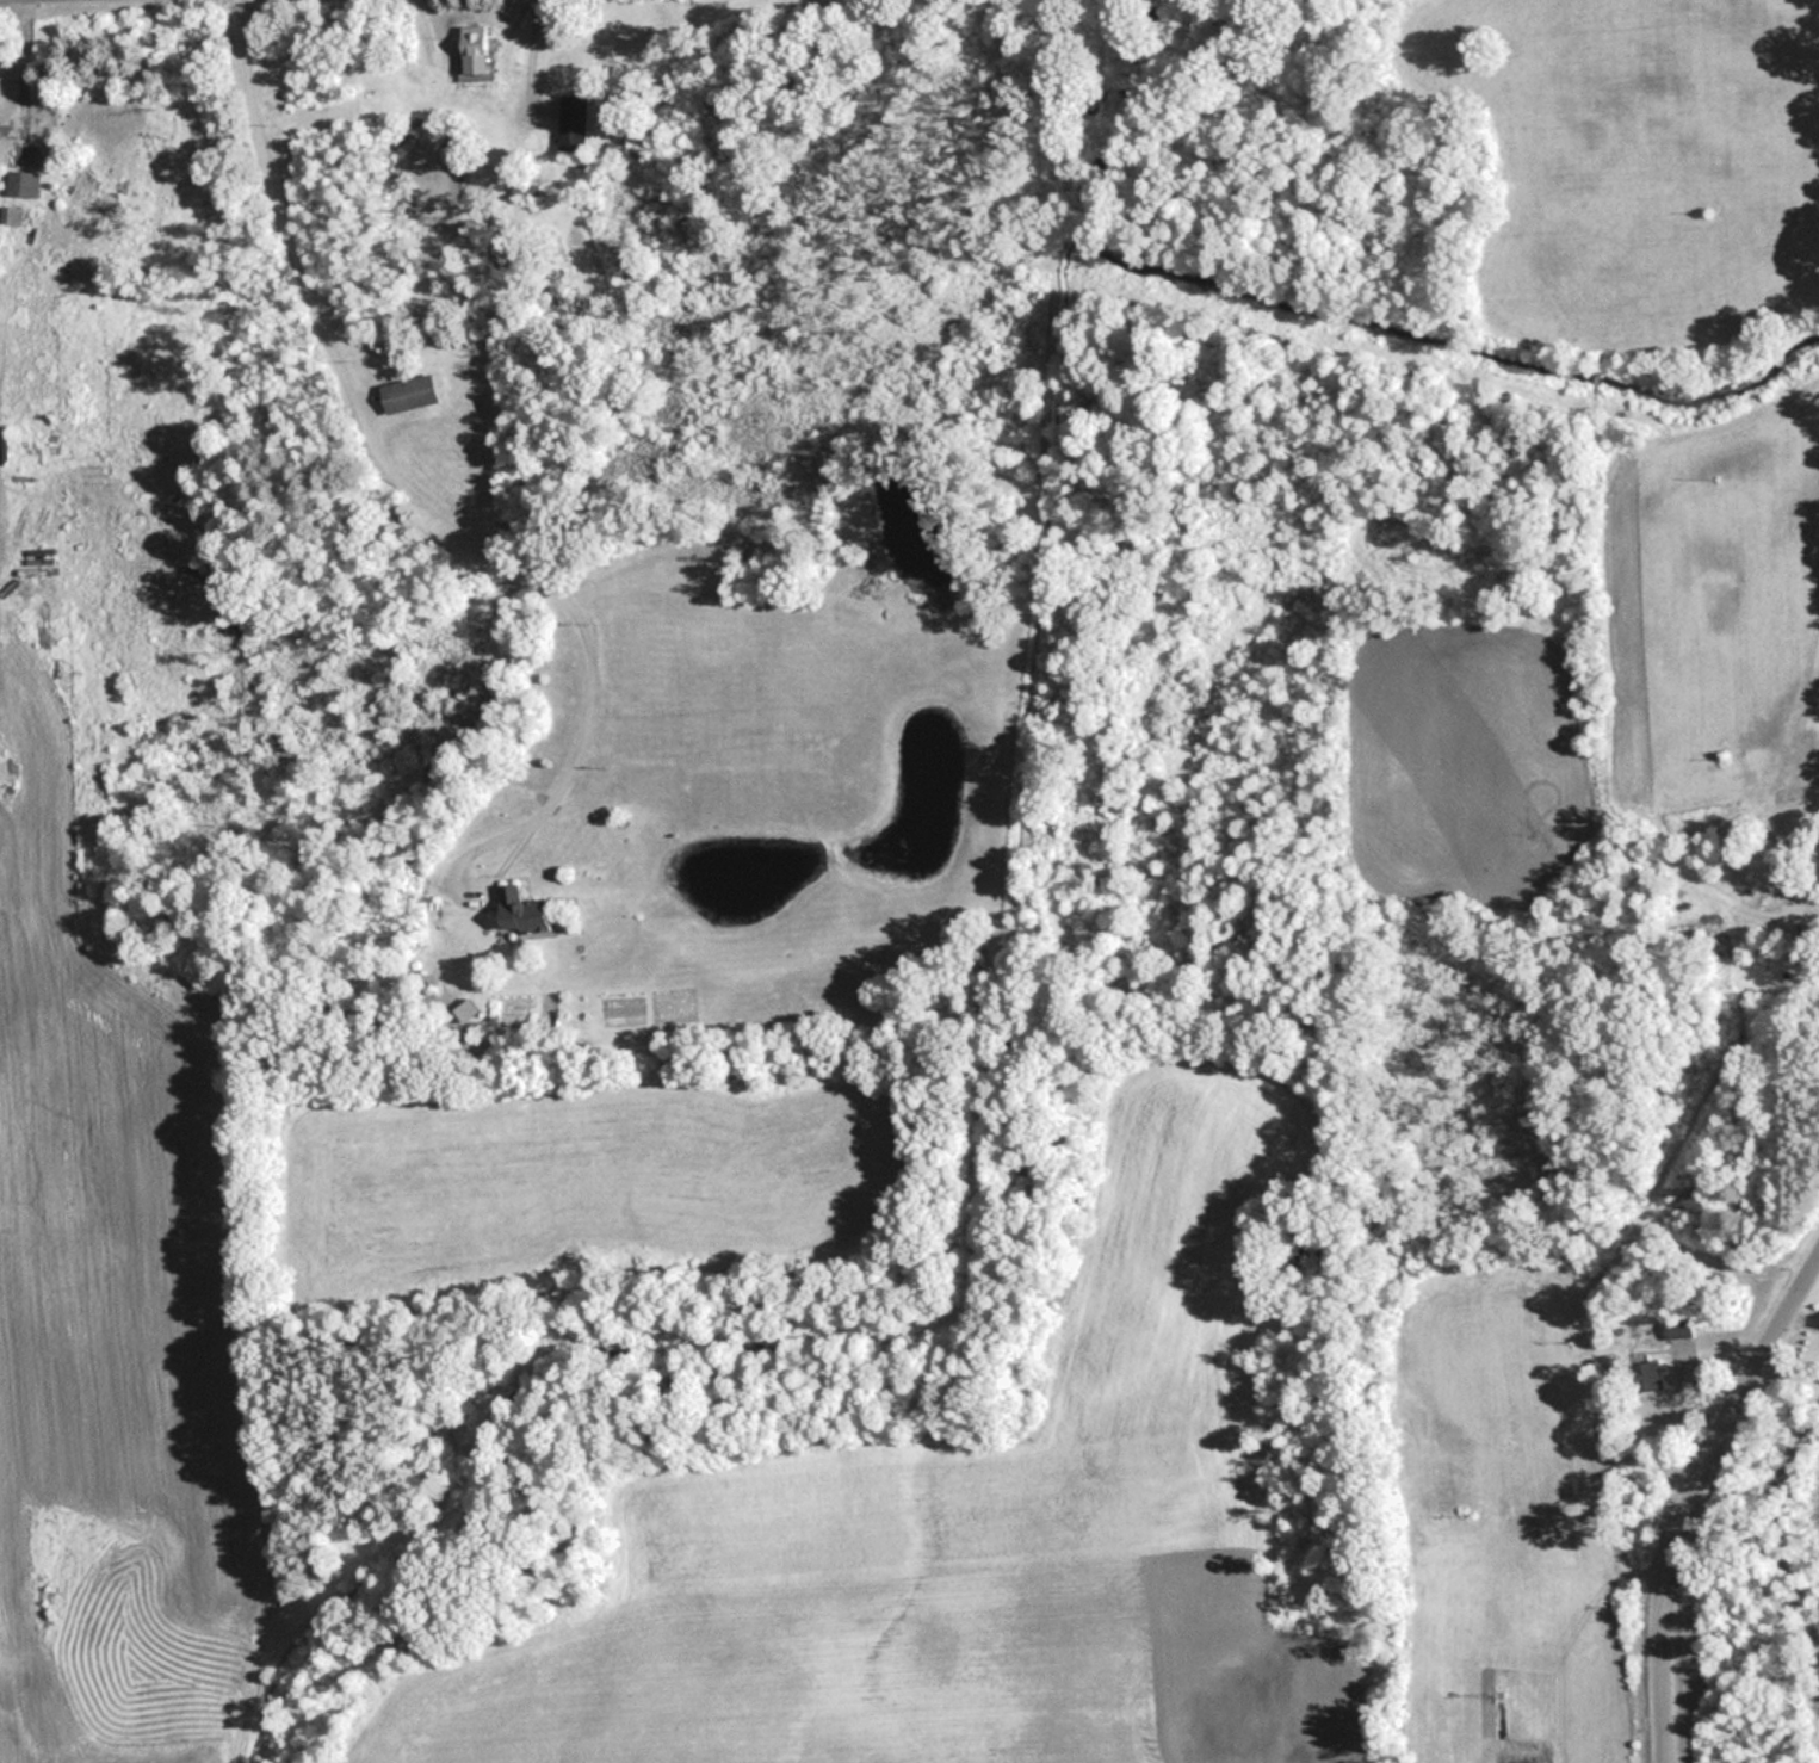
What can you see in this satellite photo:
building: (476, 50)
road: (19, 67)
building: (573, 124)
building: (24, 185)
building: (81, 192)
building: (409, 394)
road: (377, 456)
road: (465, 892)
building: (522, 913)
building: (1789, 977)
building: (465, 1010)
building: (1684, 1328)
building: (1650, 1375)
road: (1690, 1496)

